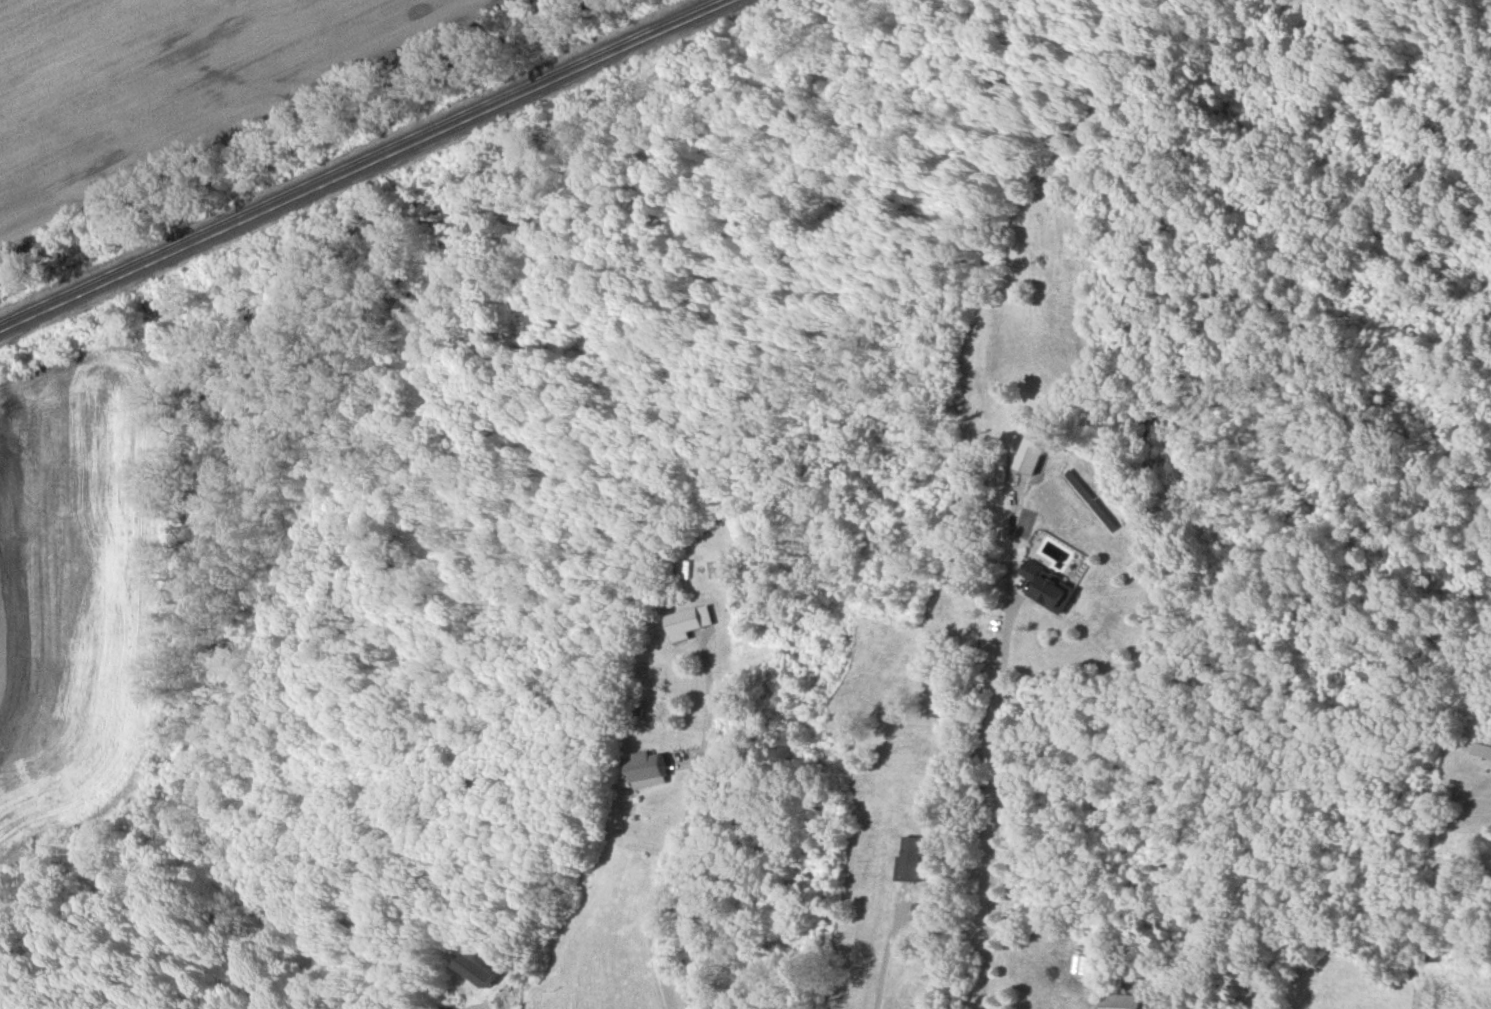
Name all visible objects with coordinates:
crop: (172, 81)
railway: (363, 162)
railway: (374, 167)
building: (1032, 455)
building: (1050, 587)
crop: (79, 594)
building: (689, 622)
road: (998, 741)
building: (1481, 750)
building: (648, 770)
road: (683, 821)
building: (912, 860)
crop: (602, 934)
road: (886, 958)
building: (481, 970)
building: (1122, 1001)
road: (465, 1008)

